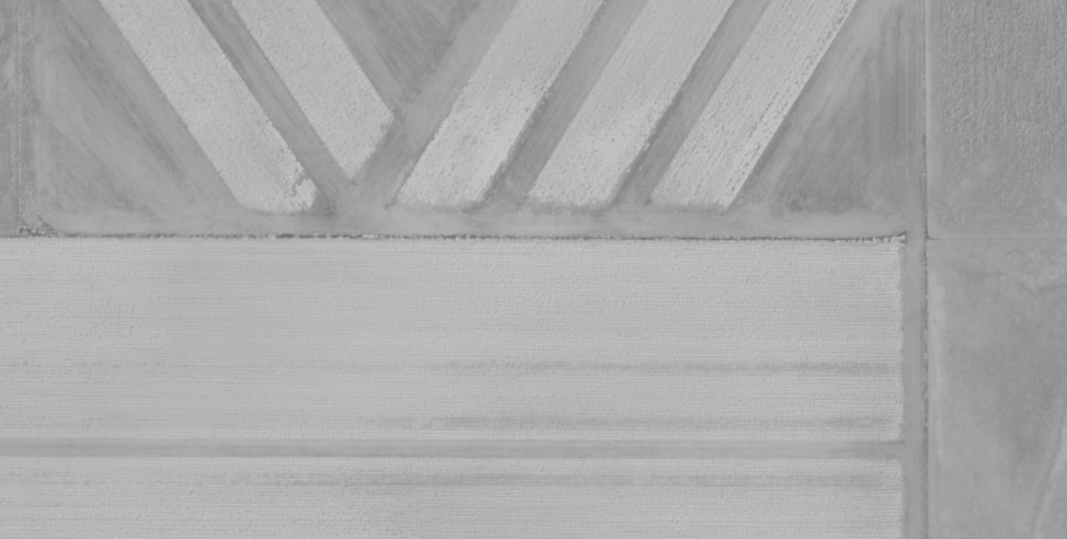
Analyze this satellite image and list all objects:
road: (39, 210)

